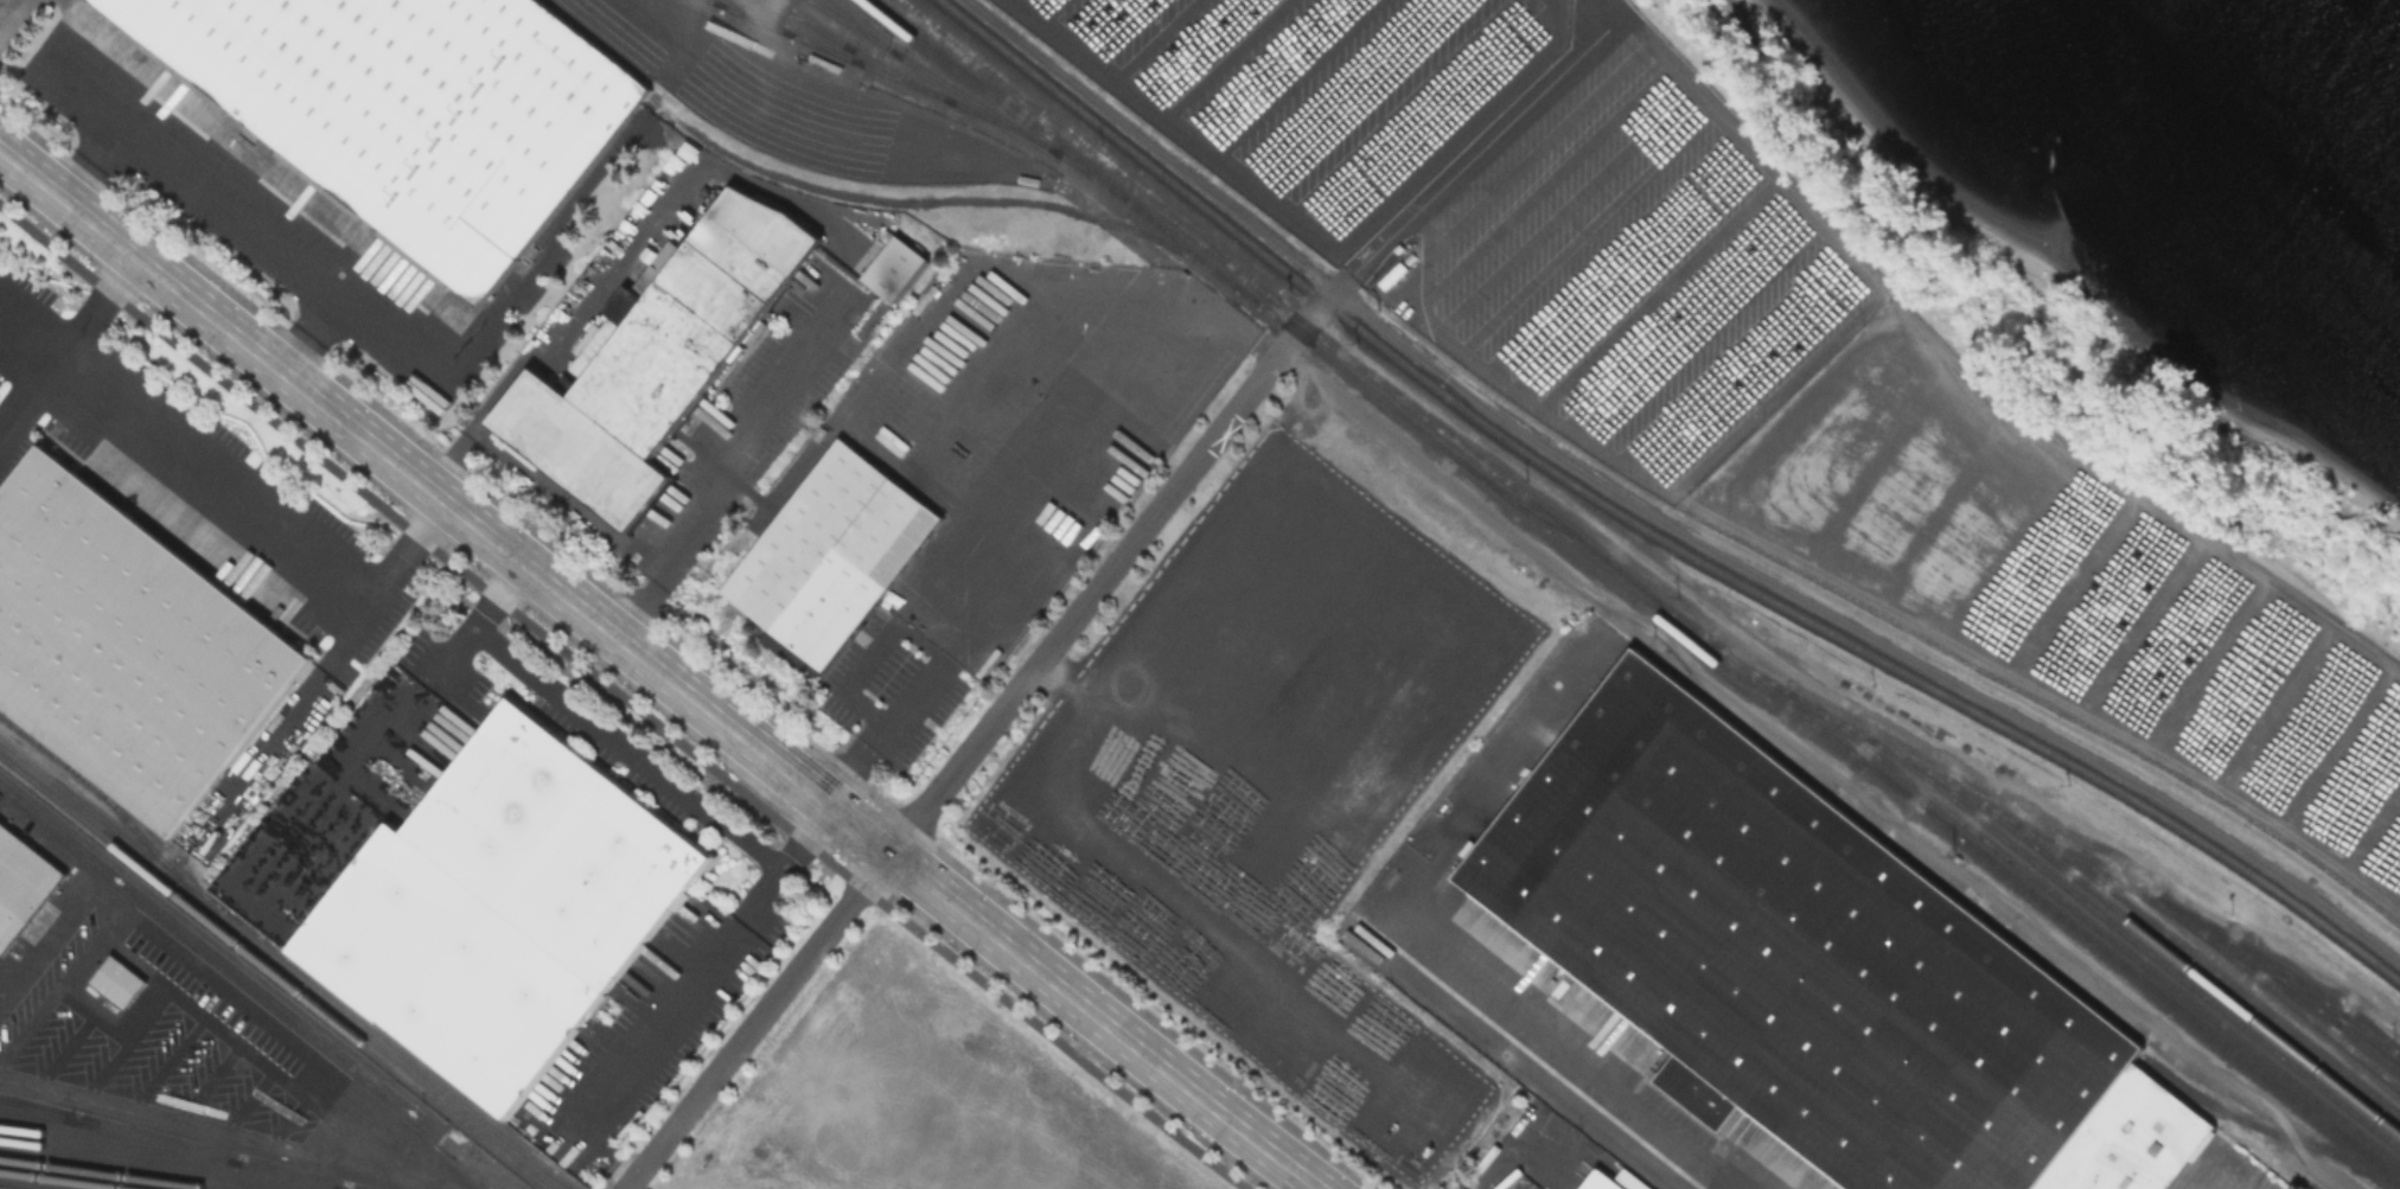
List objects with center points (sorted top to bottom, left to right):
railway: (716, 0)
road: (1017, 1)
road: (1608, 8)
road: (1052, 11)
railway: (758, 17)
road: (1086, 20)
railway: (817, 23)
railway: (861, 25)
railway: (800, 30)
road: (1121, 30)
road: (1156, 39)
railway: (858, 49)
road: (1192, 50)
road: (1225, 59)
road: (1260, 69)
railway: (934, 75)
road: (110, 78)
road: (1296, 78)
railway: (927, 88)
road: (1332, 88)
road: (1365, 98)
road: (1399, 107)
building: (414, 109)
road: (1148, 145)
road: (1534, 151)
road: (1476, 154)
road: (1545, 184)
railway: (949, 203)
road: (1560, 210)
road: (224, 213)
road: (1309, 230)
road: (1585, 232)
road: (638, 243)
road: (1608, 252)
road: (975, 257)
road: (1633, 271)
building: (894, 274)
road: (123, 275)
road: (1658, 292)
road: (1684, 314)
road: (1706, 333)
road: (1262, 347)
road: (1729, 351)
building: (658, 358)
road: (454, 362)
road: (55, 365)
road: (1755, 372)
railway: (1373, 381)
railway: (1360, 385)
road: (1763, 402)
road: (1085, 446)
road: (449, 464)
road: (734, 465)
road: (216, 484)
road: (783, 485)
railway: (1527, 510)
road: (433, 517)
railway: (1642, 531)
building: (832, 550)
building: (129, 645)
road: (659, 667)
road: (621, 698)
road: (887, 728)
road: (978, 737)
road: (623, 743)
road: (1818, 762)
railway: (108, 806)
railway: (2056, 850)
building: (24, 884)
building: (508, 906)
railway: (2095, 932)
railway: (2134, 946)
railway: (2175, 960)
railway: (282, 967)
building: (1809, 967)
railway: (2210, 973)
railway: (2128, 974)
railway: (273, 976)
building: (121, 984)
road: (683, 993)
railway: (2275, 997)
railway: (2317, 1011)
road: (1585, 1076)
road: (189, 1126)
railway: (2264, 1132)
railway: (117, 1143)
railway: (167, 1145)
railway: (166, 1163)
railway: (101, 1175)
railway: (55, 1181)
building: (1615, 1181)

